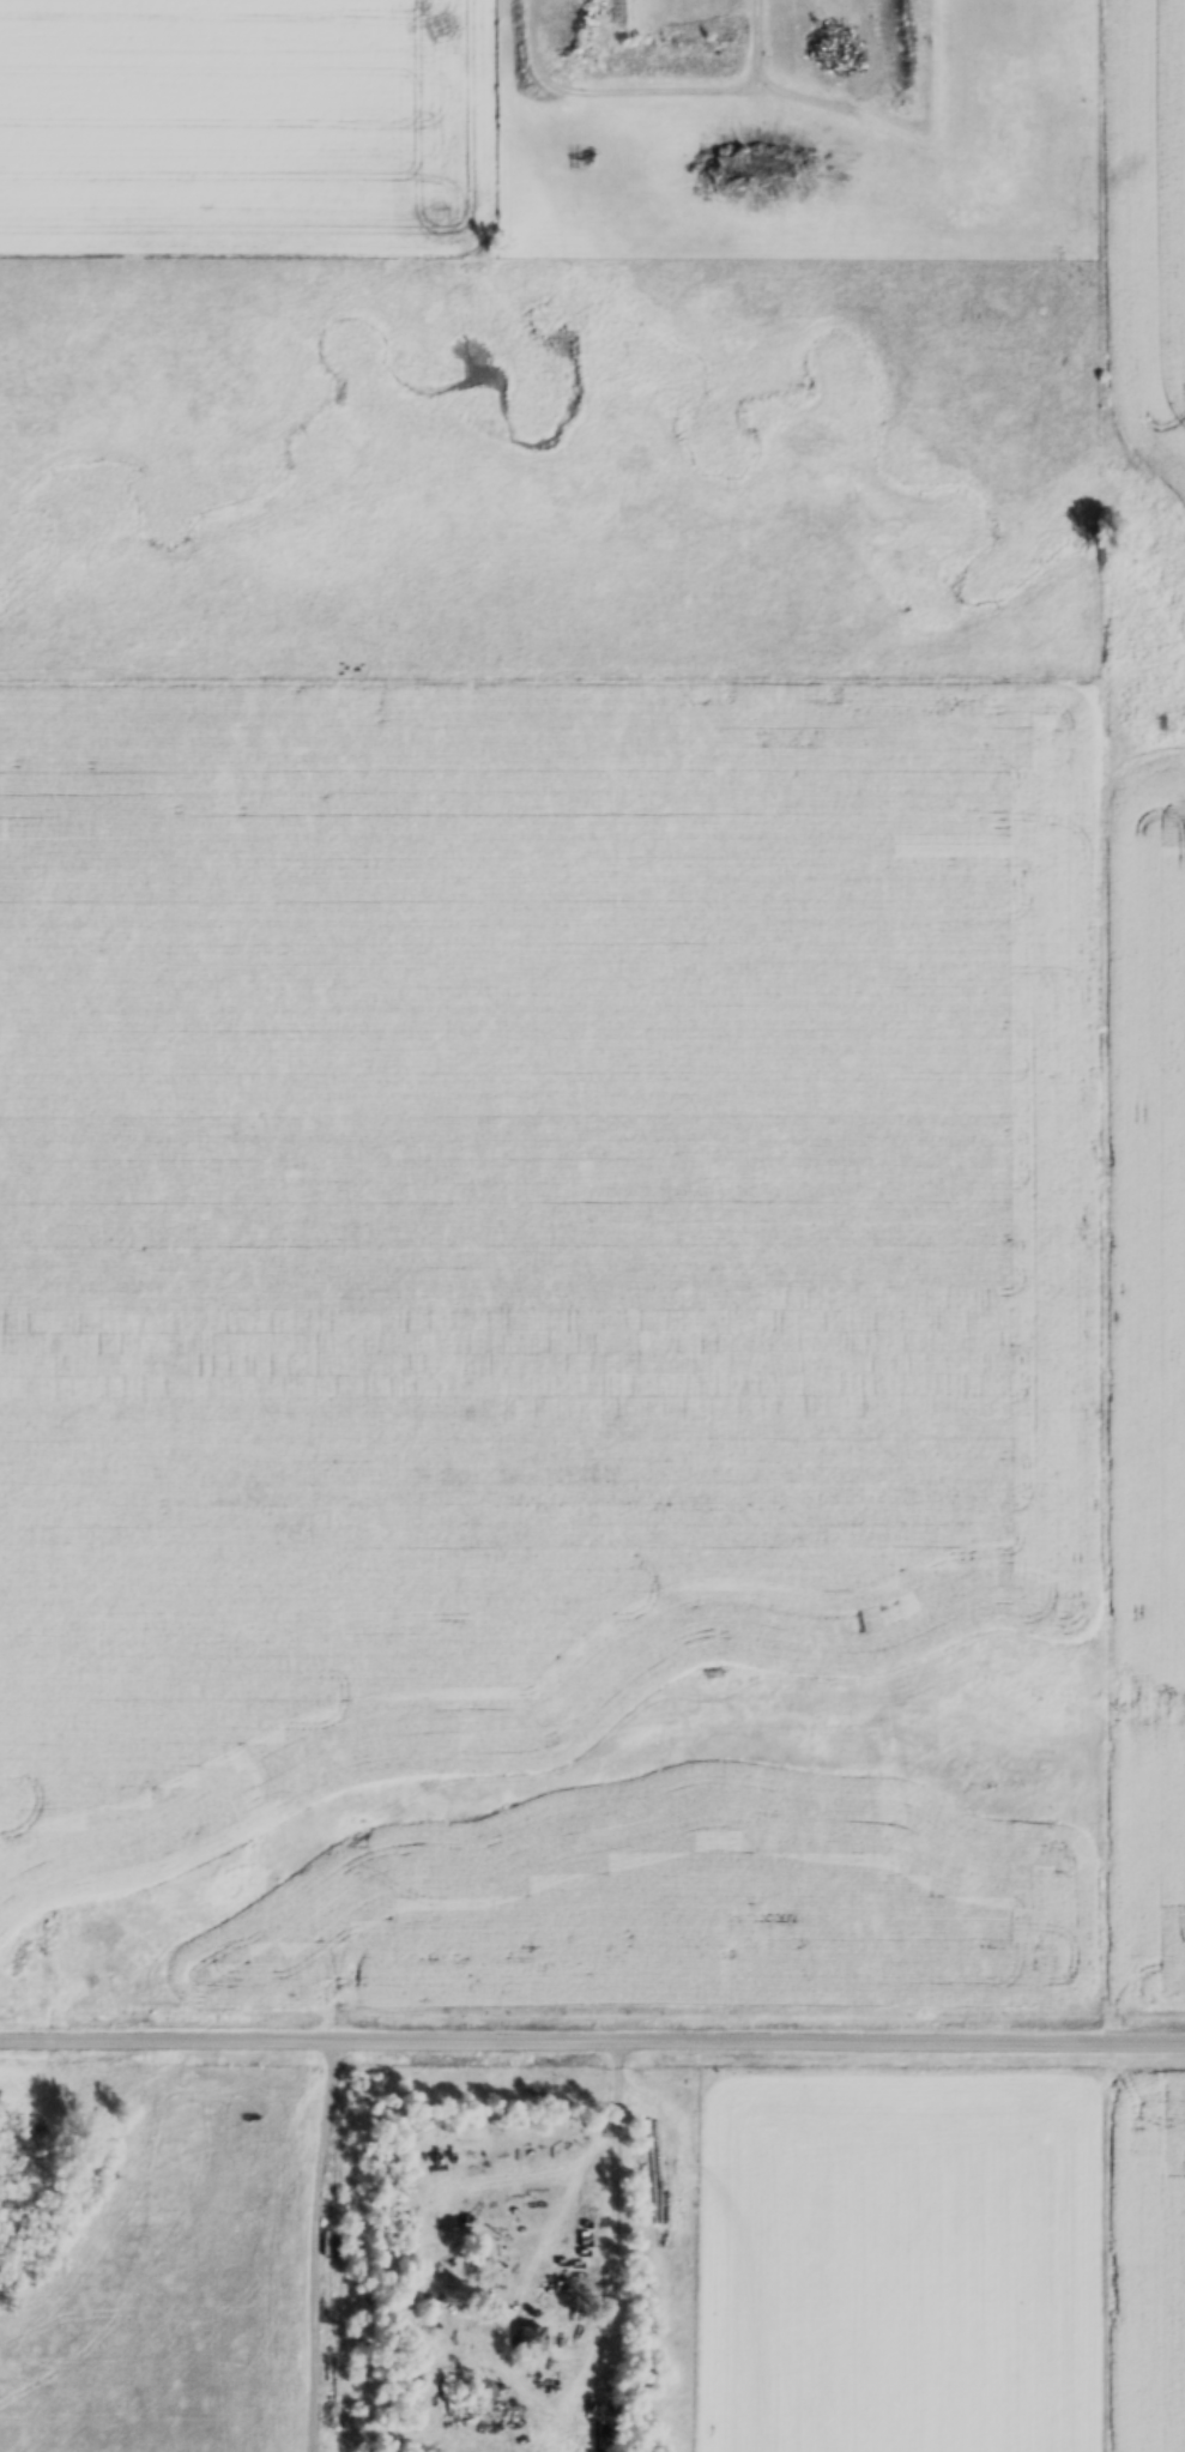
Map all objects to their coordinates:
road: (761, 40)
road: (592, 2037)
road: (617, 2245)

